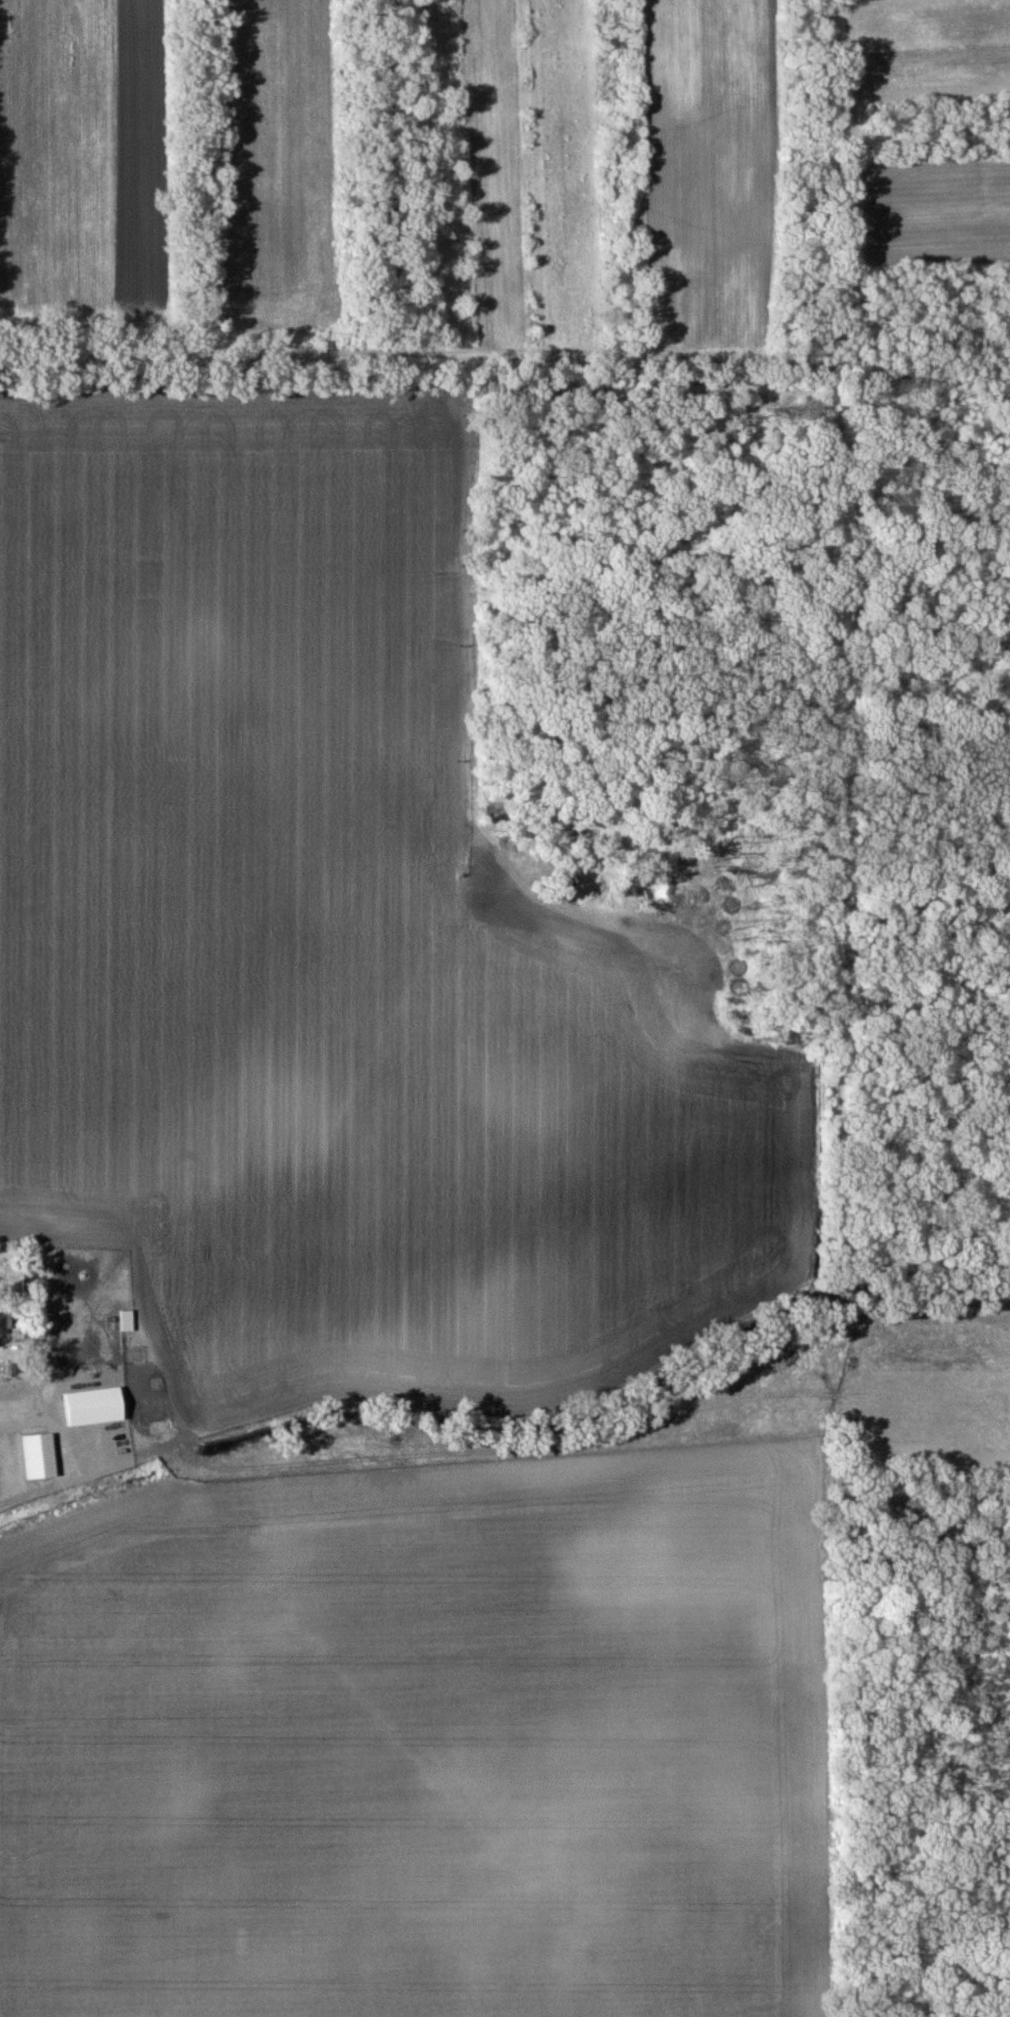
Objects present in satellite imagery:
building: (124, 1321)
building: (1, 1322)
building: (36, 1458)

